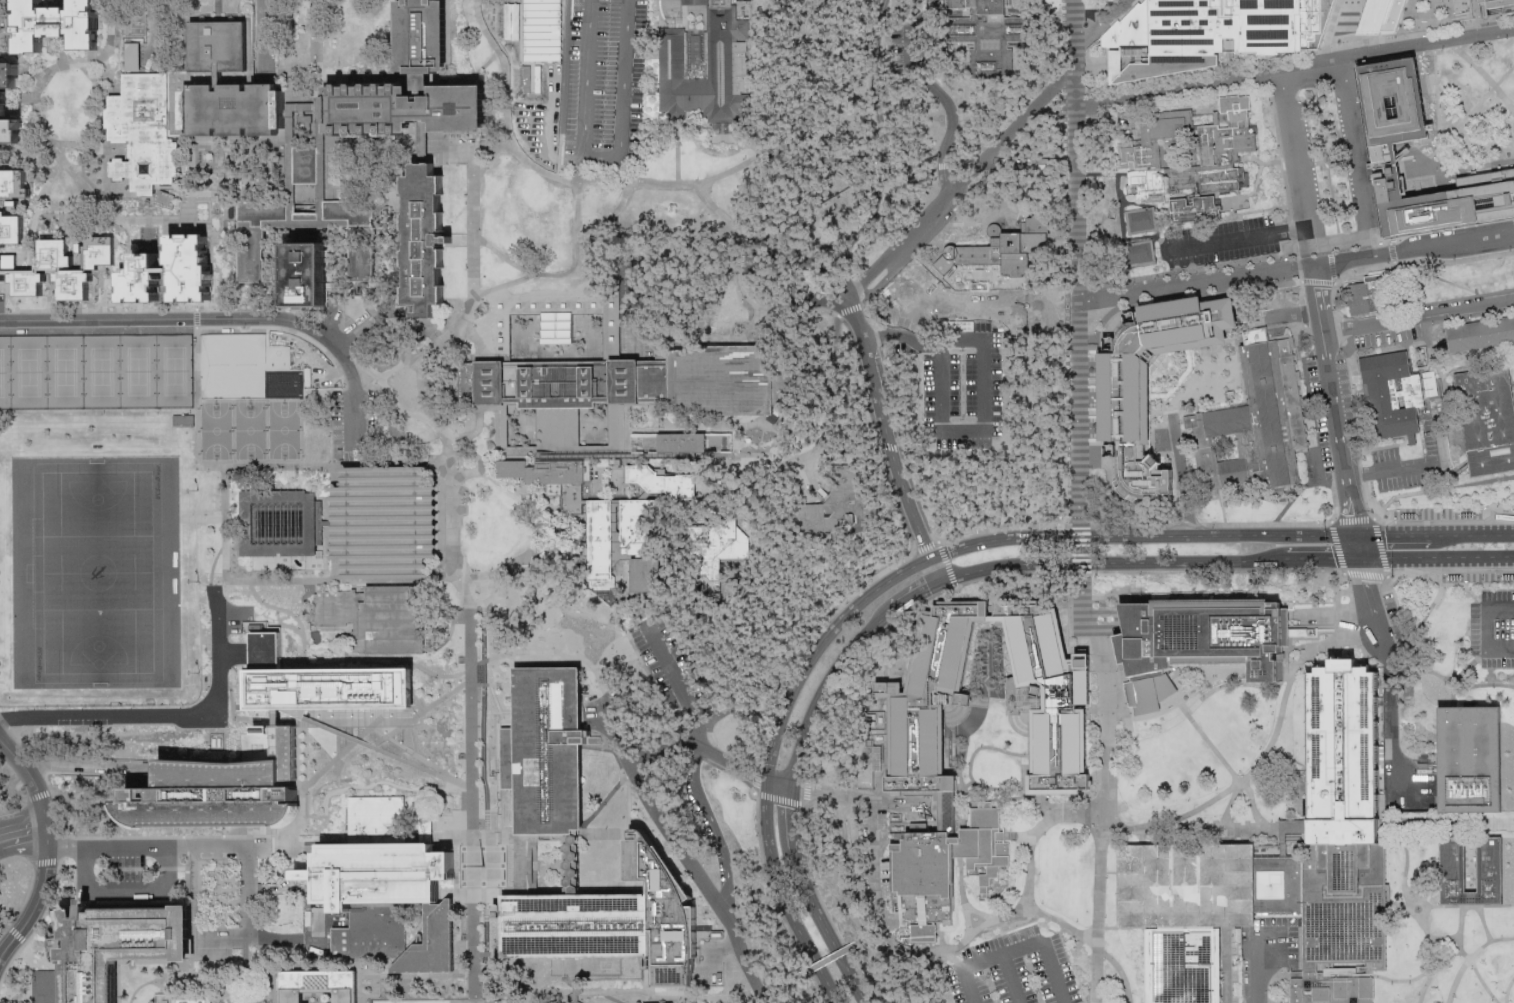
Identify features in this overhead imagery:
road: (1350, 2)
road: (706, 4)
park: (1072, 4)
building: (1496, 7)
road: (218, 10)
road: (1433, 13)
building: (1381, 15)
road: (1463, 16)
parking lot: (2, 17)
road: (1476, 17)
building: (58, 23)
road: (1434, 24)
road: (1416, 25)
road: (1092, 28)
building: (138, 29)
building: (539, 29)
parking lot: (611, 29)
road: (568, 31)
building: (1207, 33)
road: (578, 35)
building: (992, 35)
building: (421, 36)
road: (262, 38)
road: (316, 38)
road: (510, 39)
road: (1328, 42)
parking lot: (901, 43)
road: (1229, 43)
building: (217, 45)
road: (1065, 45)
road: (578, 48)
road: (1235, 51)
building: (126, 54)
road: (642, 55)
road: (1294, 55)
road: (1349, 58)
road: (607, 59)
road: (1092, 63)
road: (1229, 65)
road: (1294, 66)
road: (576, 67)
building: (726, 67)
road: (1479, 70)
road: (583, 73)
road: (526, 74)
road: (212, 76)
road: (366, 76)
road: (467, 76)
road: (1504, 76)
road: (422, 80)
road: (487, 81)
road: (1055, 88)
road: (938, 91)
building: (4, 106)
road: (1057, 106)
building: (232, 108)
road: (669, 125)
road: (878, 125)
building: (142, 130)
road: (1435, 131)
road: (557, 133)
road: (1012, 136)
road: (88, 147)
road: (338, 148)
road: (1292, 148)
building: (1219, 149)
building: (1149, 153)
building: (1381, 154)
flagpole: (1324, 158)
road: (815, 163)
road: (1420, 165)
building: (304, 166)
road: (942, 166)
road: (967, 166)
road: (1439, 169)
road: (76, 175)
road: (1385, 175)
road: (484, 176)
road: (1371, 177)
road: (35, 181)
road: (946, 181)
road: (281, 193)
road: (35, 203)
building: (11, 204)
road: (226, 207)
building: (1194, 208)
road: (1446, 208)
road: (156, 217)
road: (1003, 217)
building: (1141, 219)
road: (1009, 225)
road: (1448, 225)
road: (486, 228)
road: (794, 230)
road: (199, 231)
road: (917, 232)
road: (624, 233)
road: (1381, 236)
building: (356, 237)
road: (1242, 238)
building: (255, 239)
road: (783, 240)
parking lot: (1224, 241)
building: (424, 242)
road: (749, 246)
road: (1309, 247)
road: (1413, 250)
building: (1000, 252)
building: (1139, 252)
road: (753, 262)
road: (1076, 262)
building: (61, 264)
road: (655, 264)
road: (394, 266)
road: (498, 266)
building: (170, 267)
road: (595, 267)
building: (305, 272)
road: (1440, 277)
park: (1456, 278)
road: (214, 282)
road: (1195, 284)
road: (1315, 288)
road: (874, 290)
building: (1369, 294)
road: (1423, 303)
road: (850, 307)
road: (147, 308)
road: (191, 308)
road: (46, 309)
road: (1335, 309)
road: (1288, 314)
road: (1418, 316)
road: (196, 317)
road: (220, 317)
road: (854, 318)
road: (491, 327)
building: (1477, 334)
road: (920, 340)
road: (443, 357)
road: (483, 357)
building: (236, 362)
park: (232, 363)
park: (94, 370)
road: (1511, 381)
building: (982, 382)
building: (941, 383)
building: (606, 385)
road: (368, 386)
road: (388, 387)
road: (1333, 393)
building: (1394, 393)
road: (1306, 395)
road: (423, 400)
building: (1123, 402)
building: (181, 417)
road: (662, 417)
building: (1485, 420)
building: (1252, 421)
road: (730, 423)
road: (772, 427)
road: (826, 427)
park: (250, 428)
road: (478, 441)
building: (686, 443)
road: (891, 450)
road: (952, 456)
parking lot: (1407, 462)
road: (1419, 464)
road: (1180, 475)
road: (500, 482)
road: (1474, 482)
building: (211, 491)
road: (1289, 492)
road: (706, 493)
road: (1399, 494)
road: (1334, 495)
road: (1120, 497)
road: (638, 498)
road: (1290, 501)
road: (615, 502)
building: (834, 504)
road: (1352, 504)
building: (605, 508)
road: (1222, 509)
road: (452, 511)
road: (1447, 514)
road: (201, 517)
building: (354, 520)
road: (601, 520)
park: (495, 523)
road: (1133, 524)
road: (1486, 533)
road: (1227, 534)
road: (1421, 534)
traffic signals: (1099, 535)
traffic signals: (1357, 535)
road: (1370, 535)
road: (1011, 537)
road: (1358, 546)
road: (1082, 548)
building: (717, 549)
road: (941, 551)
road: (226, 557)
road: (1459, 557)
road: (1309, 558)
traffic signals: (1360, 558)
road: (1382, 558)
road: (517, 561)
road: (1097, 561)
traffic signals: (1063, 562)
road: (617, 567)
park: (94, 569)
road: (933, 570)
road: (1387, 572)
building: (637, 573)
road: (1418, 574)
road: (211, 576)
road: (981, 579)
road: (1443, 584)
road: (914, 593)
road: (1483, 603)
road: (284, 608)
road: (646, 611)
building: (369, 618)
road: (1418, 624)
road: (292, 628)
road: (1488, 628)
parking lot: (1493, 628)
road: (809, 635)
road: (615, 642)
building: (1196, 642)
road: (815, 645)
road: (533, 649)
road: (385, 660)
parking lot: (669, 664)
road: (670, 670)
road: (1423, 670)
road: (1390, 671)
road: (983, 674)
building: (322, 680)
road: (1211, 681)
road: (1459, 684)
road: (823, 685)
road: (1109, 691)
road: (1455, 695)
road: (736, 704)
road: (1282, 704)
road: (428, 707)
road: (1145, 714)
road: (155, 716)
road: (332, 724)
road: (967, 725)
road: (658, 738)
road: (977, 747)
building: (536, 748)
road: (413, 751)
road: (338, 754)
road: (1288, 757)
road: (20, 761)
road: (947, 763)
building: (1056, 763)
road: (732, 764)
road: (417, 765)
road: (1229, 767)
road: (366, 784)
road: (997, 787)
road: (474, 789)
building: (210, 791)
road: (854, 796)
road: (779, 798)
road: (1004, 798)
road: (19, 800)
building: (1469, 801)
road: (42, 807)
road: (587, 817)
road: (1176, 817)
building: (374, 820)
road: (788, 822)
road: (1497, 823)
road: (1429, 824)
road: (1258, 828)
road: (22, 832)
road: (1035, 832)
road: (1018, 834)
road: (674, 837)
road: (295, 838)
building: (1335, 841)
road: (163, 846)
road: (518, 863)
road: (523, 864)
road: (528, 864)
road: (534, 864)
road: (1409, 864)
road: (842, 868)
road: (857, 881)
road: (105, 887)
road: (817, 890)
road: (781, 896)
road: (37, 897)
road: (963, 897)
building: (387, 902)
road: (776, 902)
road: (1398, 906)
road: (1469, 906)
road: (1099, 908)
fountain: (1418, 910)
building: (1184, 912)
road: (1414, 913)
road: (998, 917)
road: (4, 922)
road: (1484, 923)
building: (622, 924)
road: (246, 925)
road: (415, 928)
road: (1460, 928)
road: (827, 932)
road: (1445, 938)
road: (1430, 941)
road: (1489, 942)
building: (118, 946)
road: (1015, 947)
road: (893, 948)
road: (831, 957)
road: (954, 957)
road: (1444, 959)
road: (1227, 964)
parking lot: (1013, 970)
road: (1120, 970)
road: (1256, 972)
road: (255, 973)
road: (1419, 975)
road: (1478, 976)
road: (1010, 977)
road: (1456, 979)
building: (318, 986)
road: (359, 987)
road: (1507, 990)
road: (664, 994)
road: (436, 999)
building: (191, 1000)
road: (237, 1001)
park: (410, 1001)
road: (475, 1001)
building: (654, 1002)

